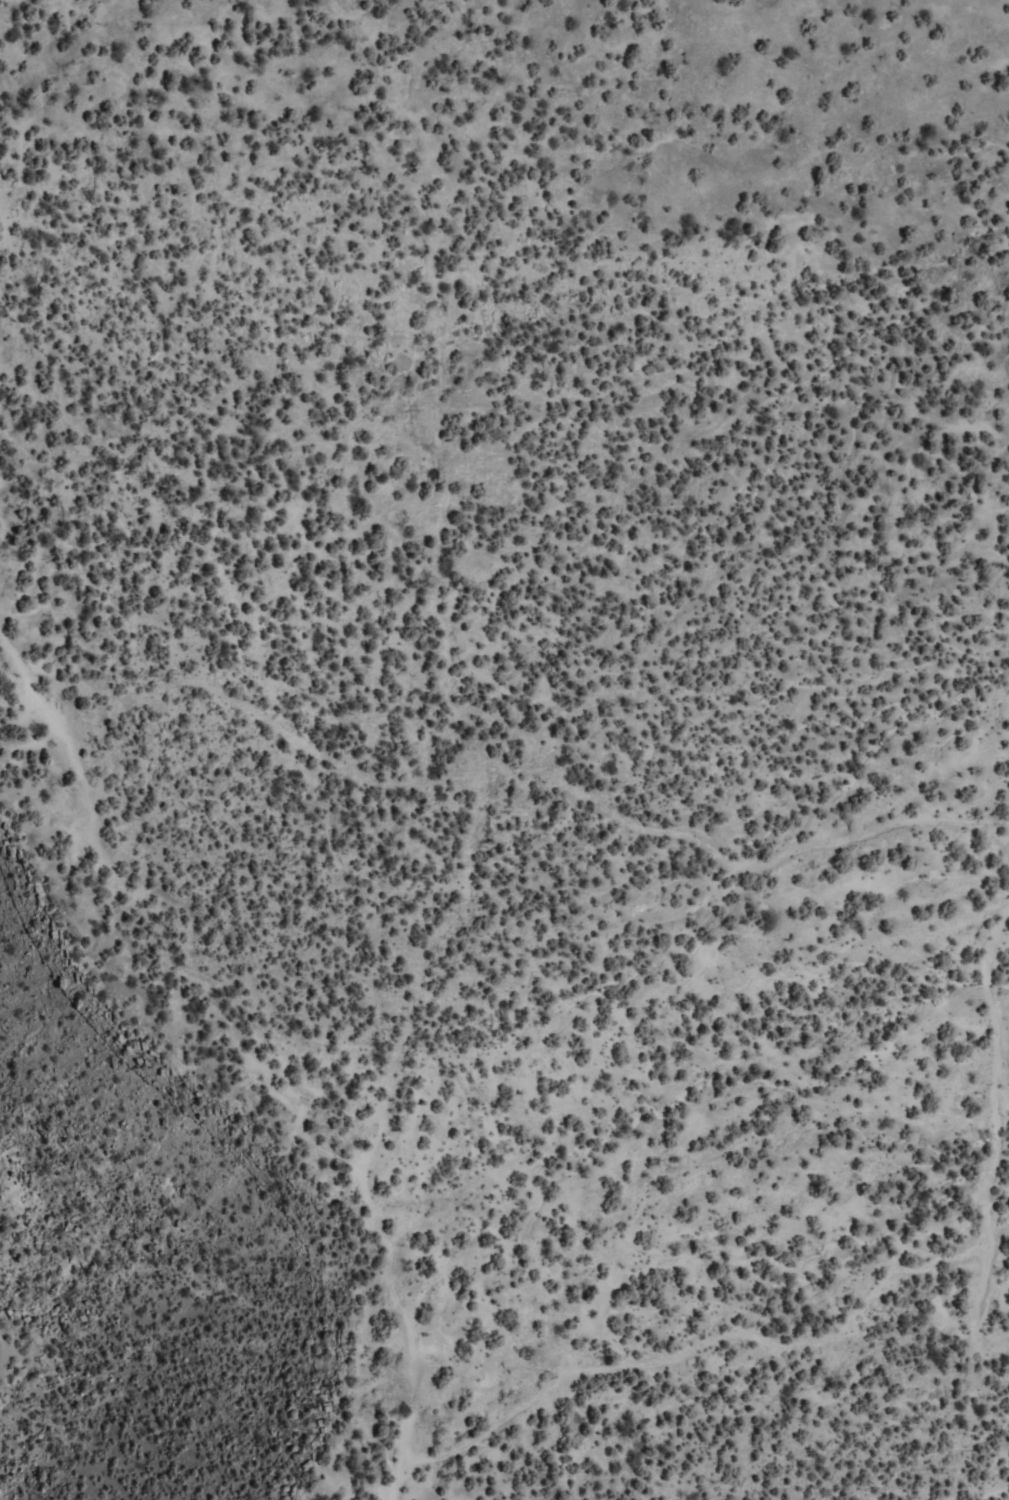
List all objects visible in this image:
road: (283, 1017)
road: (999, 1411)

